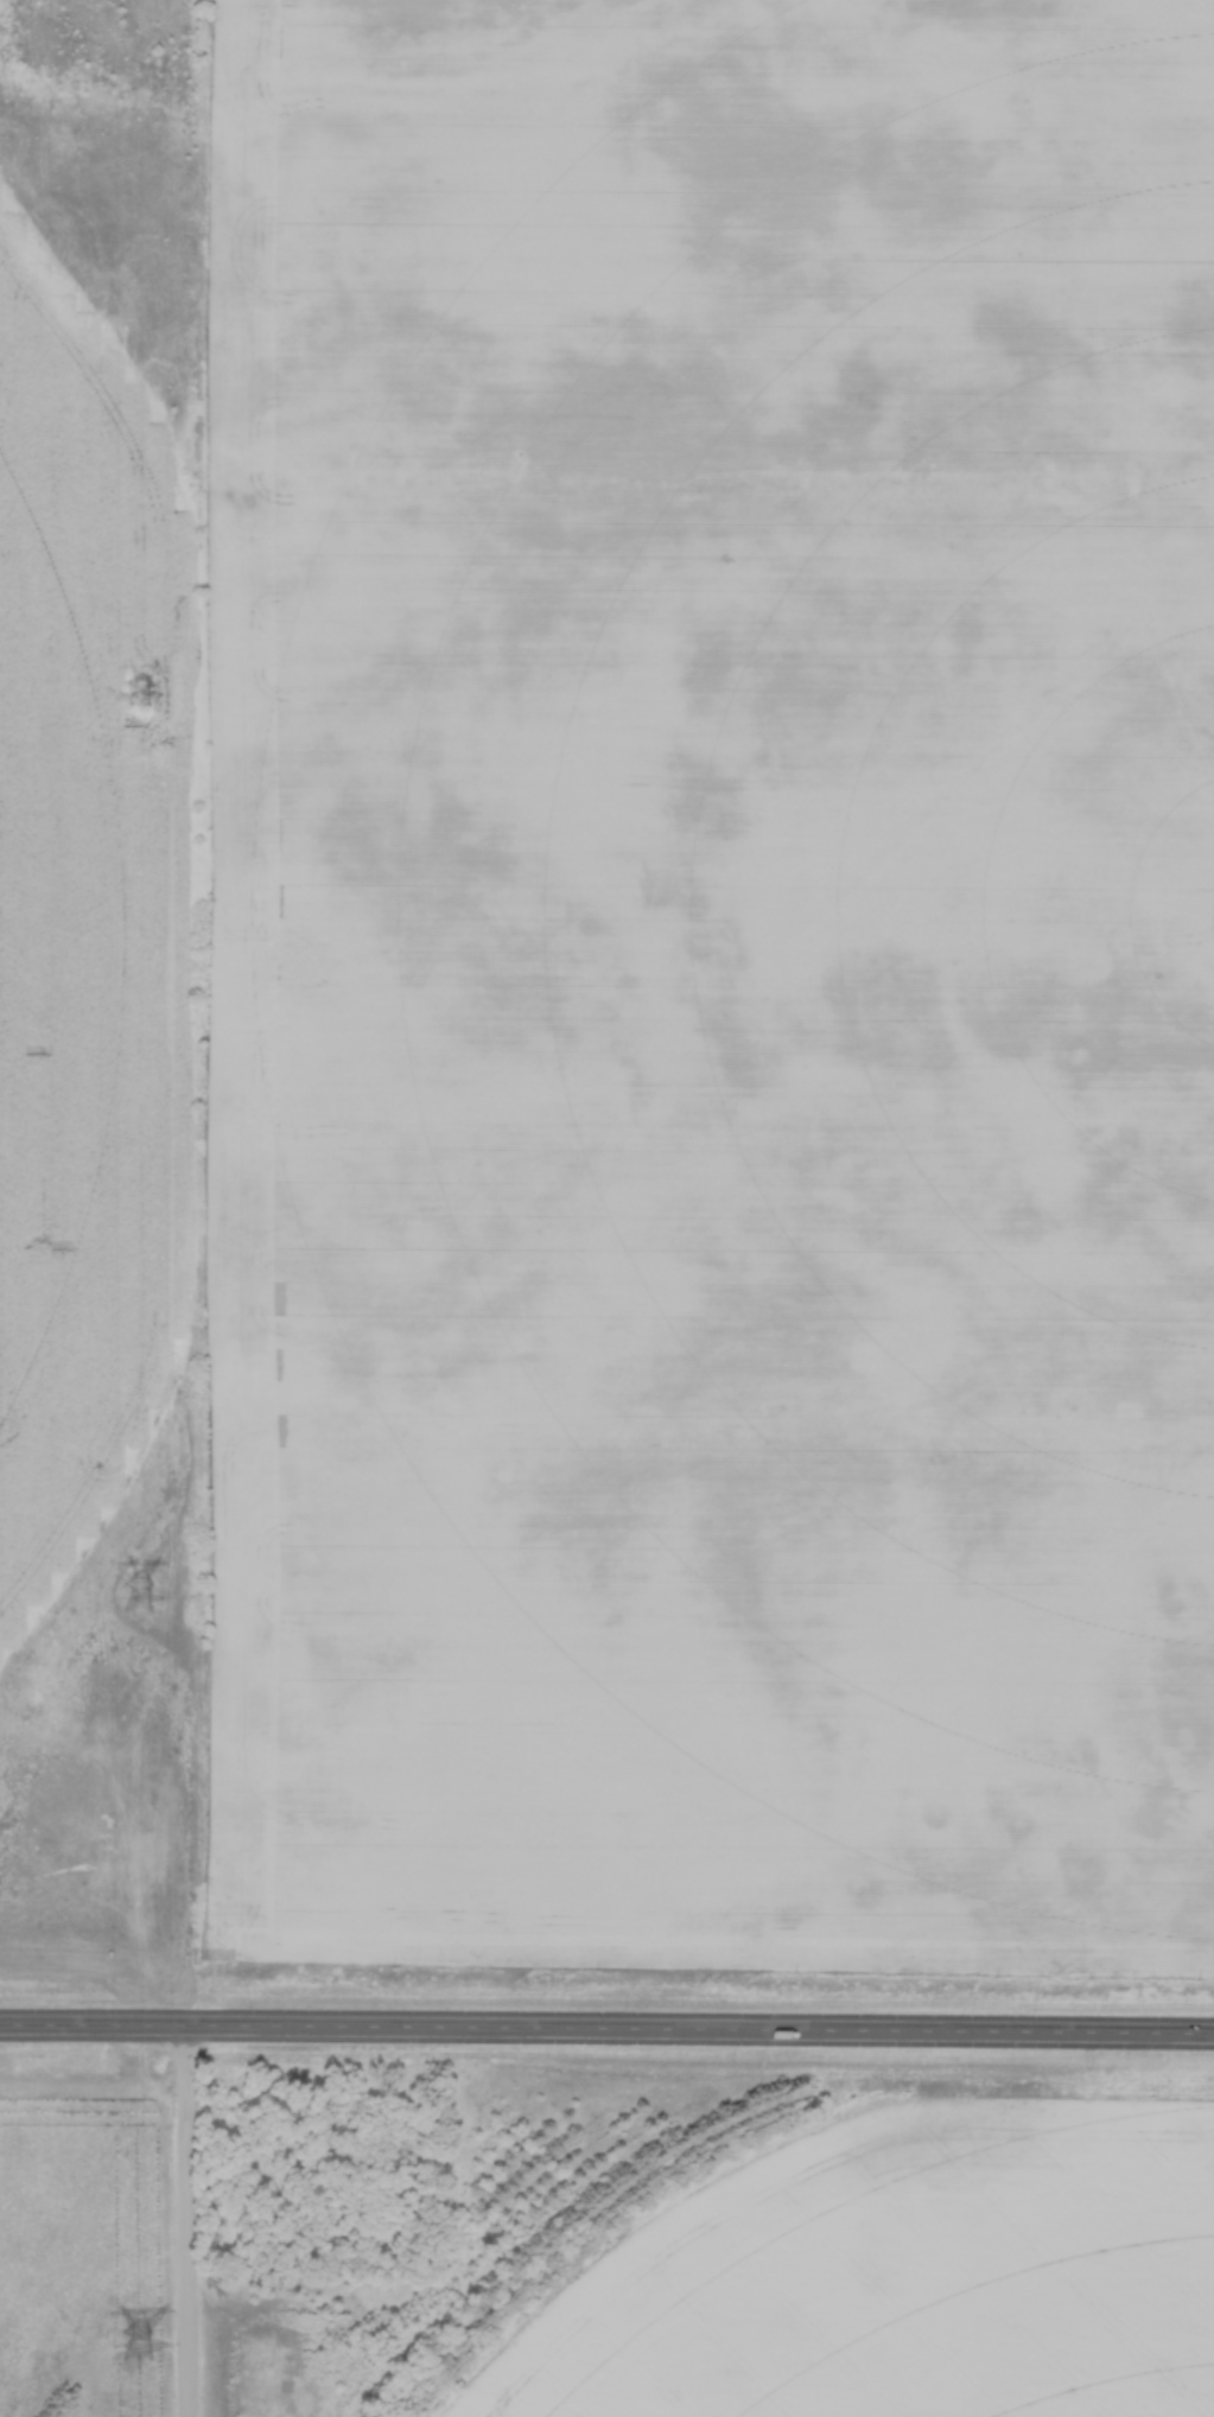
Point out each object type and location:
power tower: (140, 699)
power tower: (144, 1598)
road: (606, 2038)
road: (189, 2227)
power tower: (146, 2347)

